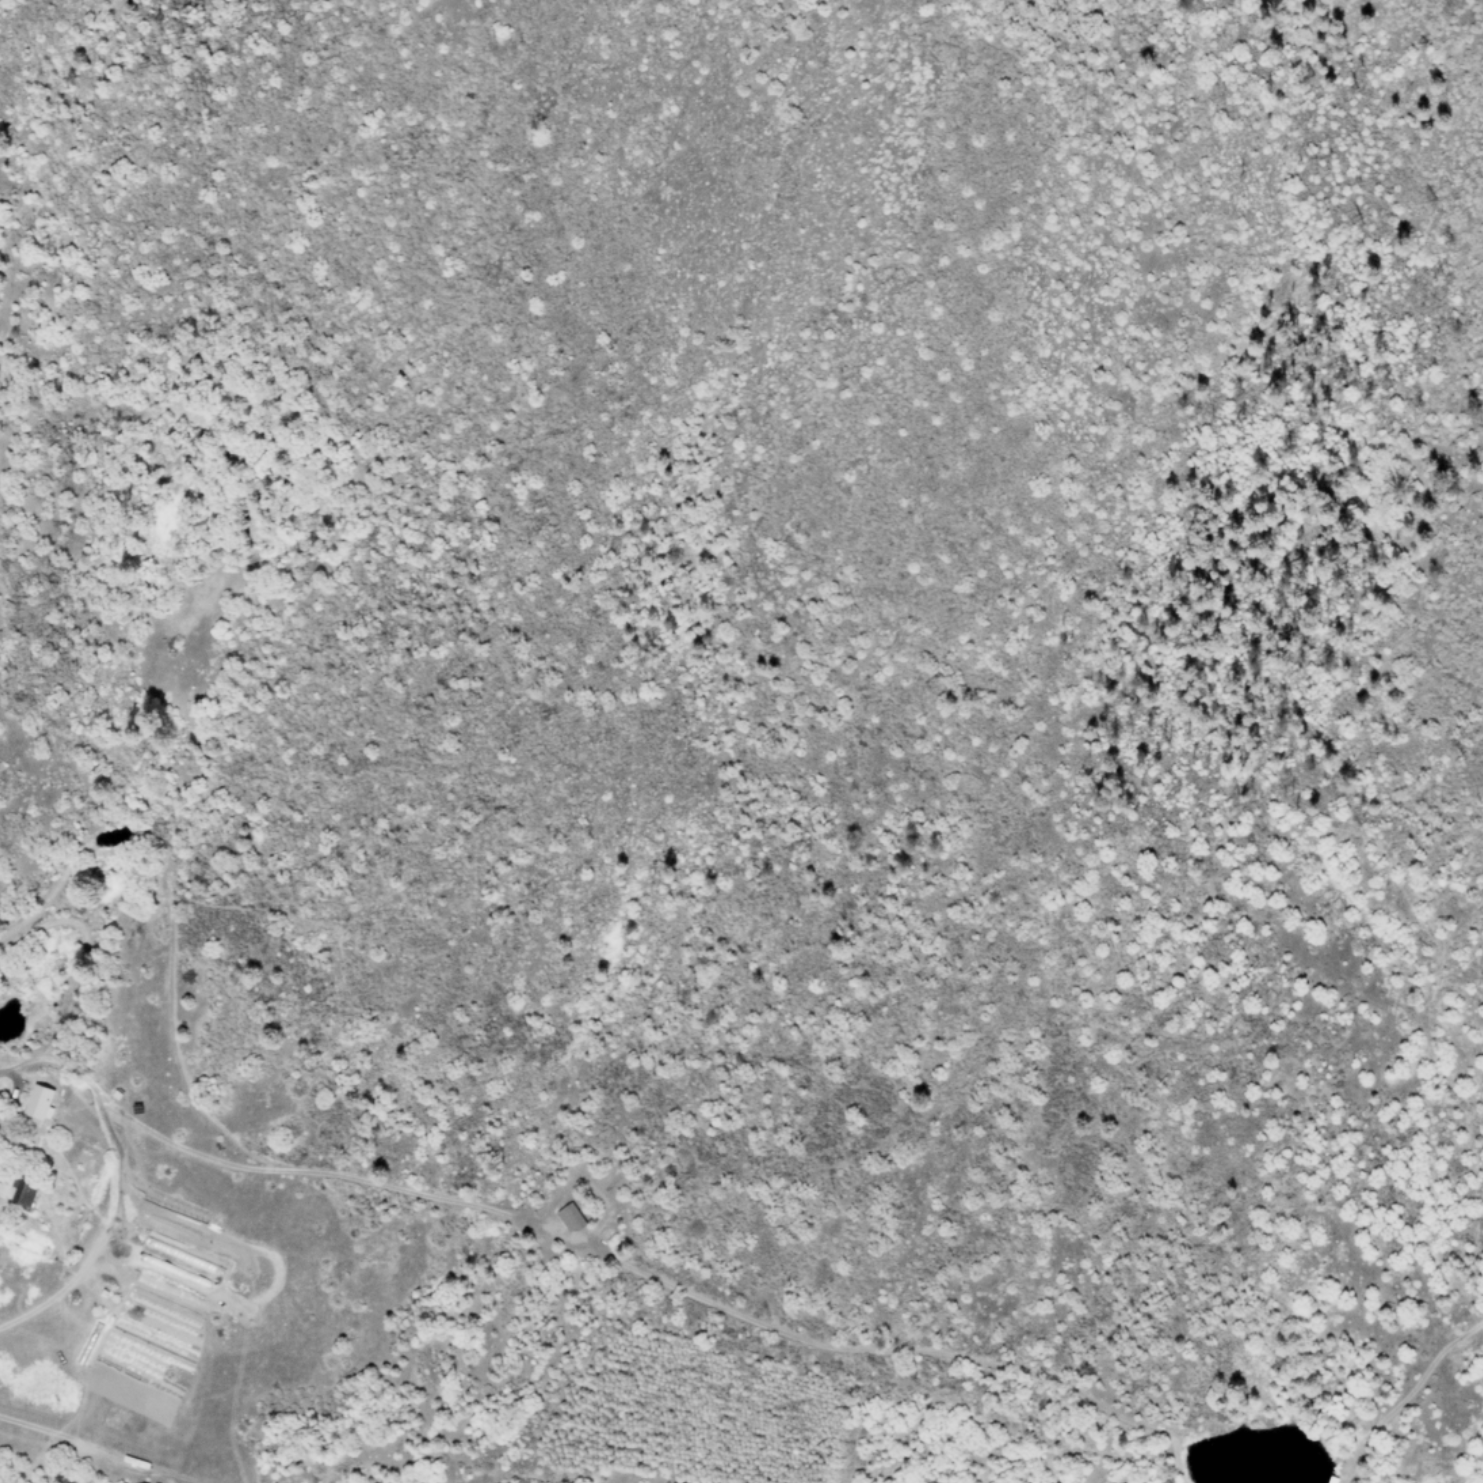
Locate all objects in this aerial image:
building: (38, 1104)
building: (23, 1193)
building: (570, 1219)

